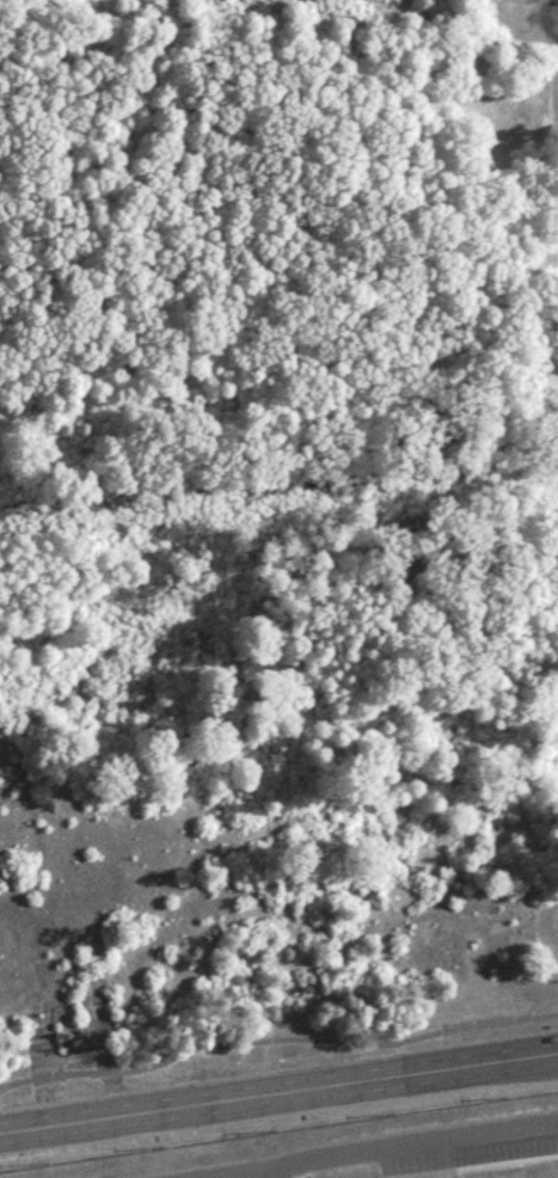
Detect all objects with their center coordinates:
road: (277, 1036)
road: (278, 1091)
road: (374, 1148)
road: (258, 1172)

